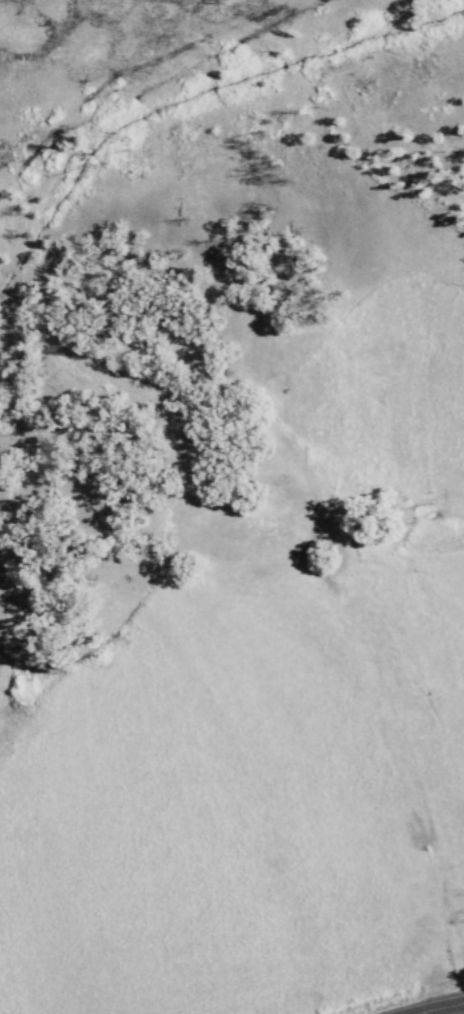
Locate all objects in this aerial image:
road: (438, 1009)

